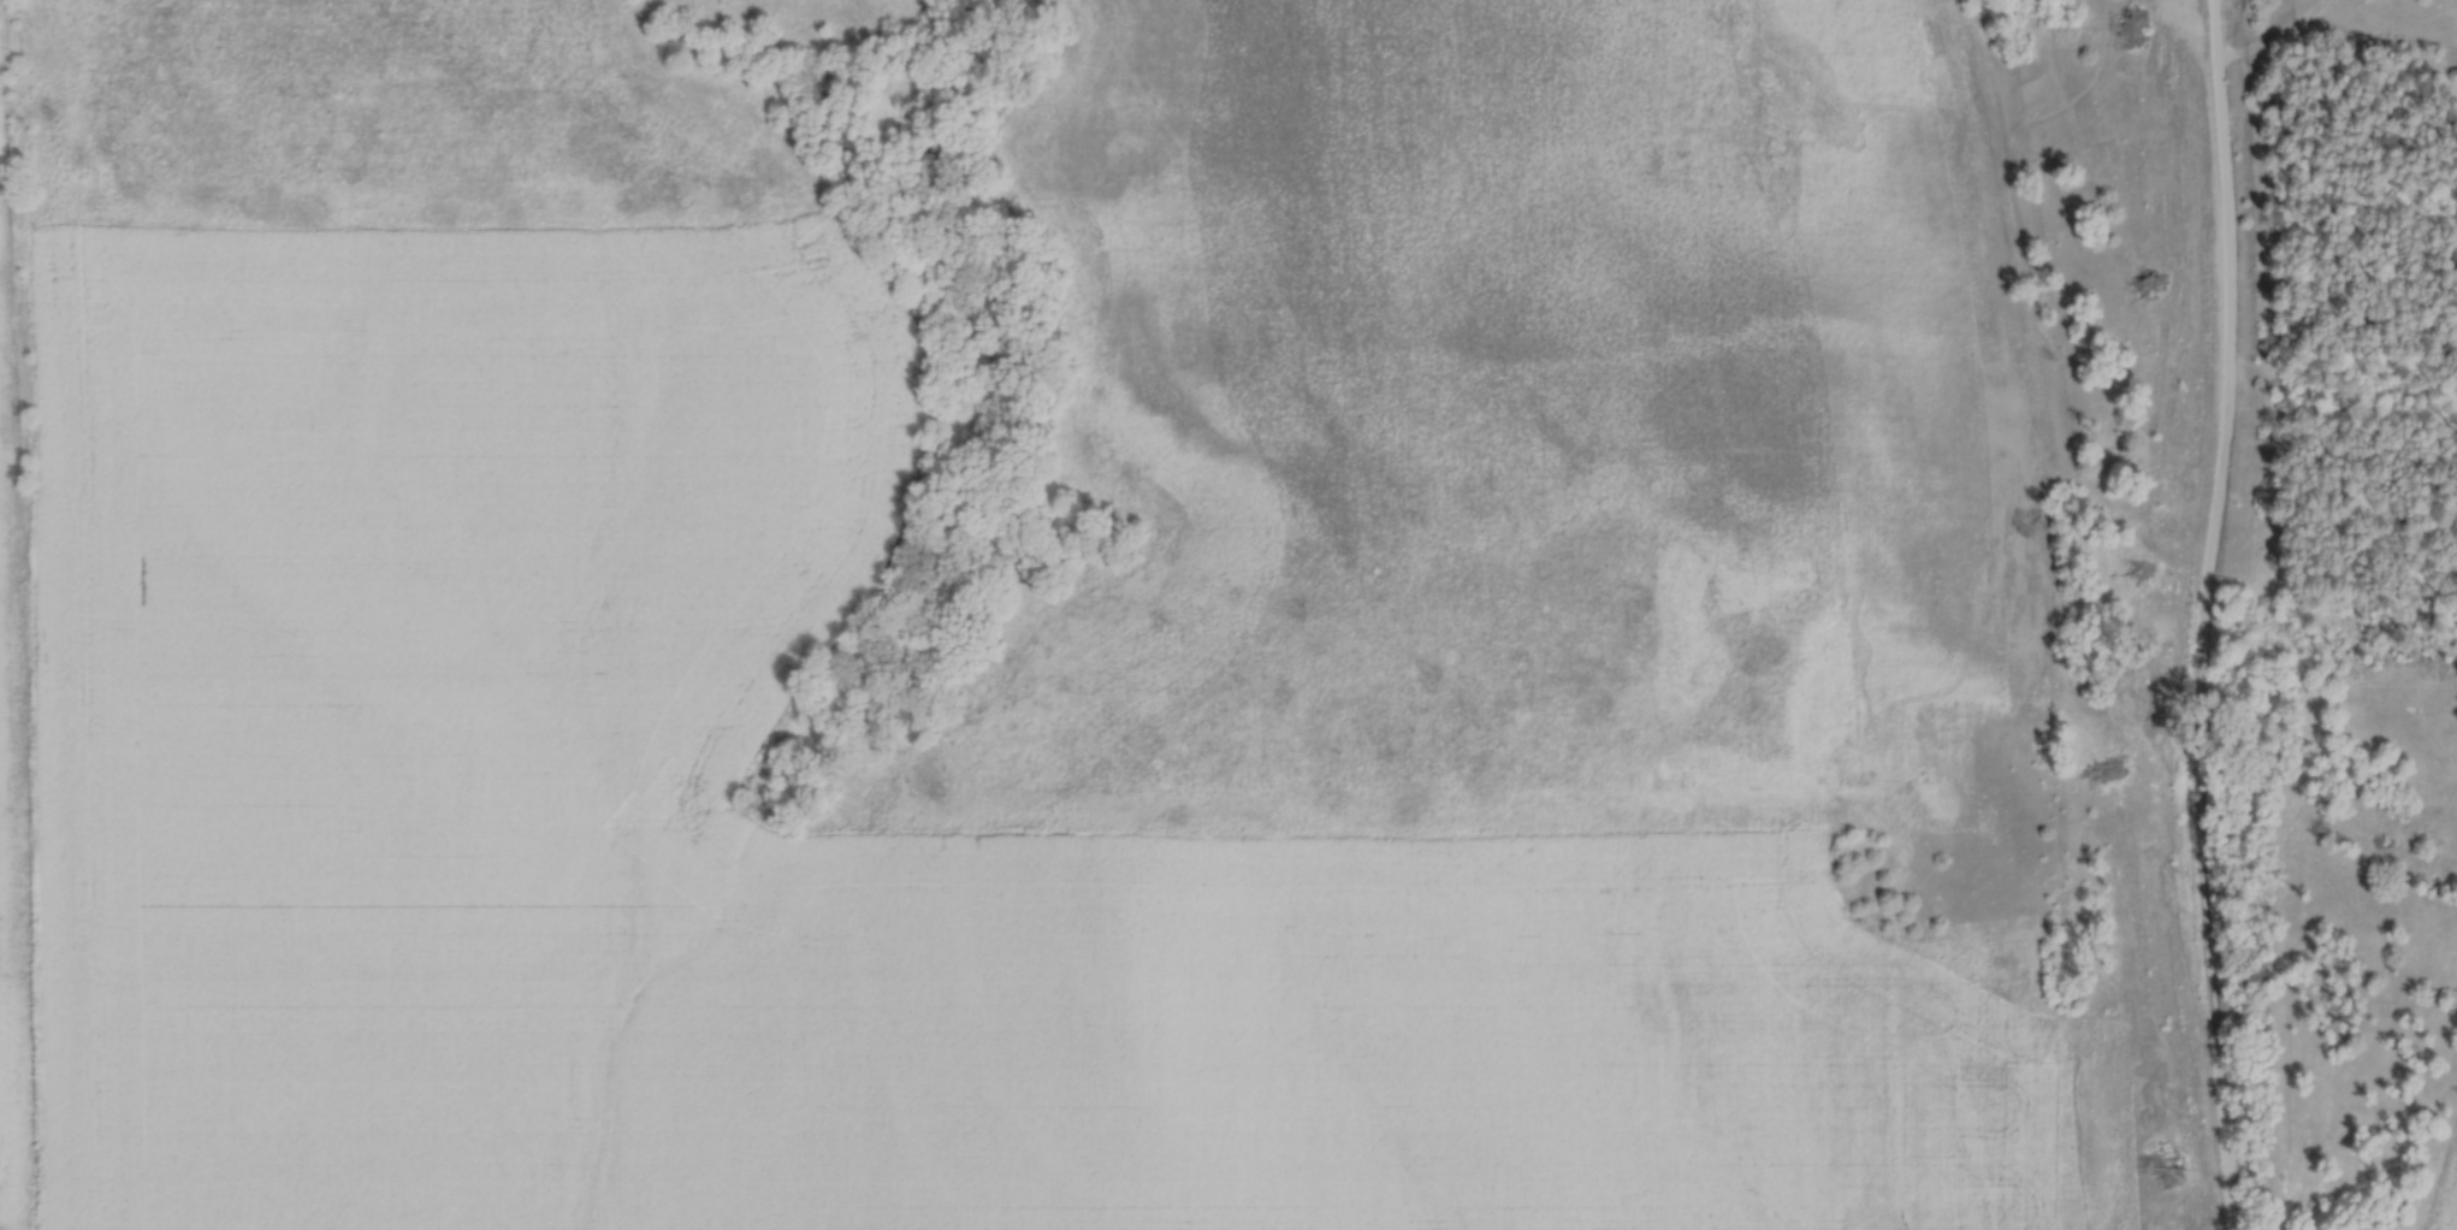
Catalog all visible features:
road: (2197, 615)

